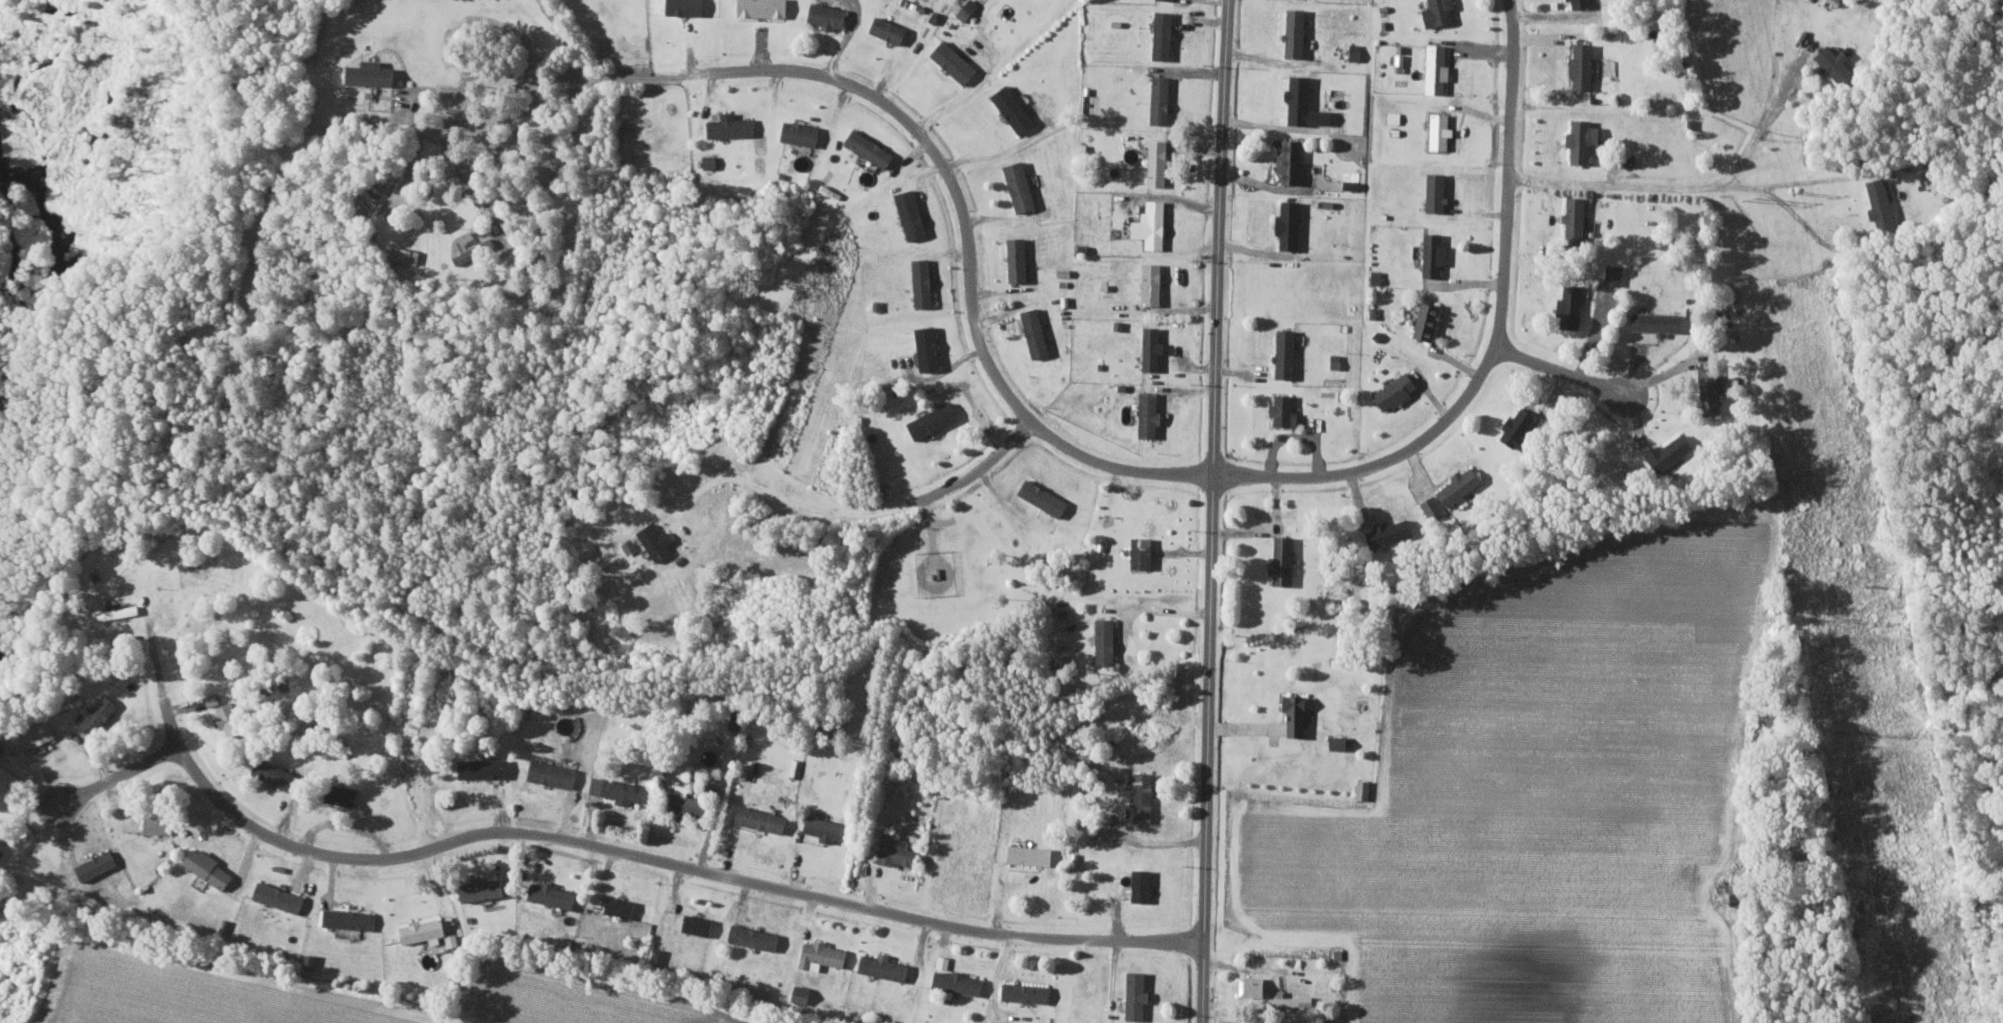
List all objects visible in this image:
building: (1583, 3)
building: (689, 7)
building: (764, 7)
building: (969, 9)
building: (1442, 12)
building: (831, 15)
building: (890, 29)
building: (1299, 32)
building: (1166, 33)
building: (956, 61)
building: (1830, 62)
building: (1585, 64)
building: (1439, 68)
building: (375, 73)
road: (437, 91)
building: (1163, 99)
building: (1307, 102)
building: (1016, 108)
building: (1396, 116)
building: (733, 125)
building: (1441, 130)
building: (803, 132)
building: (1586, 139)
building: (872, 147)
building: (1293, 160)
building: (710, 161)
building: (1159, 162)
road: (1808, 178)
road: (464, 179)
building: (1022, 186)
building: (1439, 191)
road: (955, 192)
power tower: (1794, 193)
power tower: (1752, 197)
building: (1877, 202)
building: (914, 213)
building: (1578, 217)
building: (1153, 225)
building: (1291, 225)
building: (475, 250)
building: (408, 254)
building: (1437, 254)
building: (1021, 259)
building: (1616, 273)
building: (925, 282)
building: (1153, 283)
building: (1573, 306)
building: (1431, 320)
building: (1660, 321)
building: (1038, 332)
road: (1492, 341)
building: (930, 348)
building: (1154, 348)
building: (1288, 353)
road: (1556, 369)
building: (1714, 387)
building: (1399, 390)
building: (1286, 410)
building: (1152, 414)
building: (935, 419)
building: (1521, 428)
building: (1674, 451)
road: (978, 467)
building: (1462, 484)
road: (790, 496)
building: (1046, 497)
building: (1433, 507)
road: (1211, 511)
building: (1392, 532)
building: (658, 540)
building: (1143, 552)
building: (1284, 560)
power tower: (1875, 581)
power tower: (1836, 617)
building: (1107, 641)
building: (100, 714)
building: (1300, 715)
building: (232, 719)
building: (36, 736)
building: (485, 768)
road: (119, 772)
building: (279, 774)
building: (553, 774)
building: (617, 789)
building: (1364, 789)
building: (346, 795)
building: (1144, 796)
building: (691, 802)
building: (764, 819)
building: (161, 823)
building: (827, 828)
road: (1162, 842)
building: (2, 848)
road: (621, 850)
building: (898, 851)
building: (1032, 855)
building: (98, 865)
building: (210, 867)
building: (1143, 885)
building: (485, 889)
building: (553, 894)
building: (281, 897)
building: (623, 907)
building: (350, 918)
building: (699, 924)
building: (756, 937)
building: (823, 955)
building: (886, 966)
building: (960, 982)
building: (1255, 986)
building: (1027, 992)
building: (1140, 995)
building: (1294, 1001)

